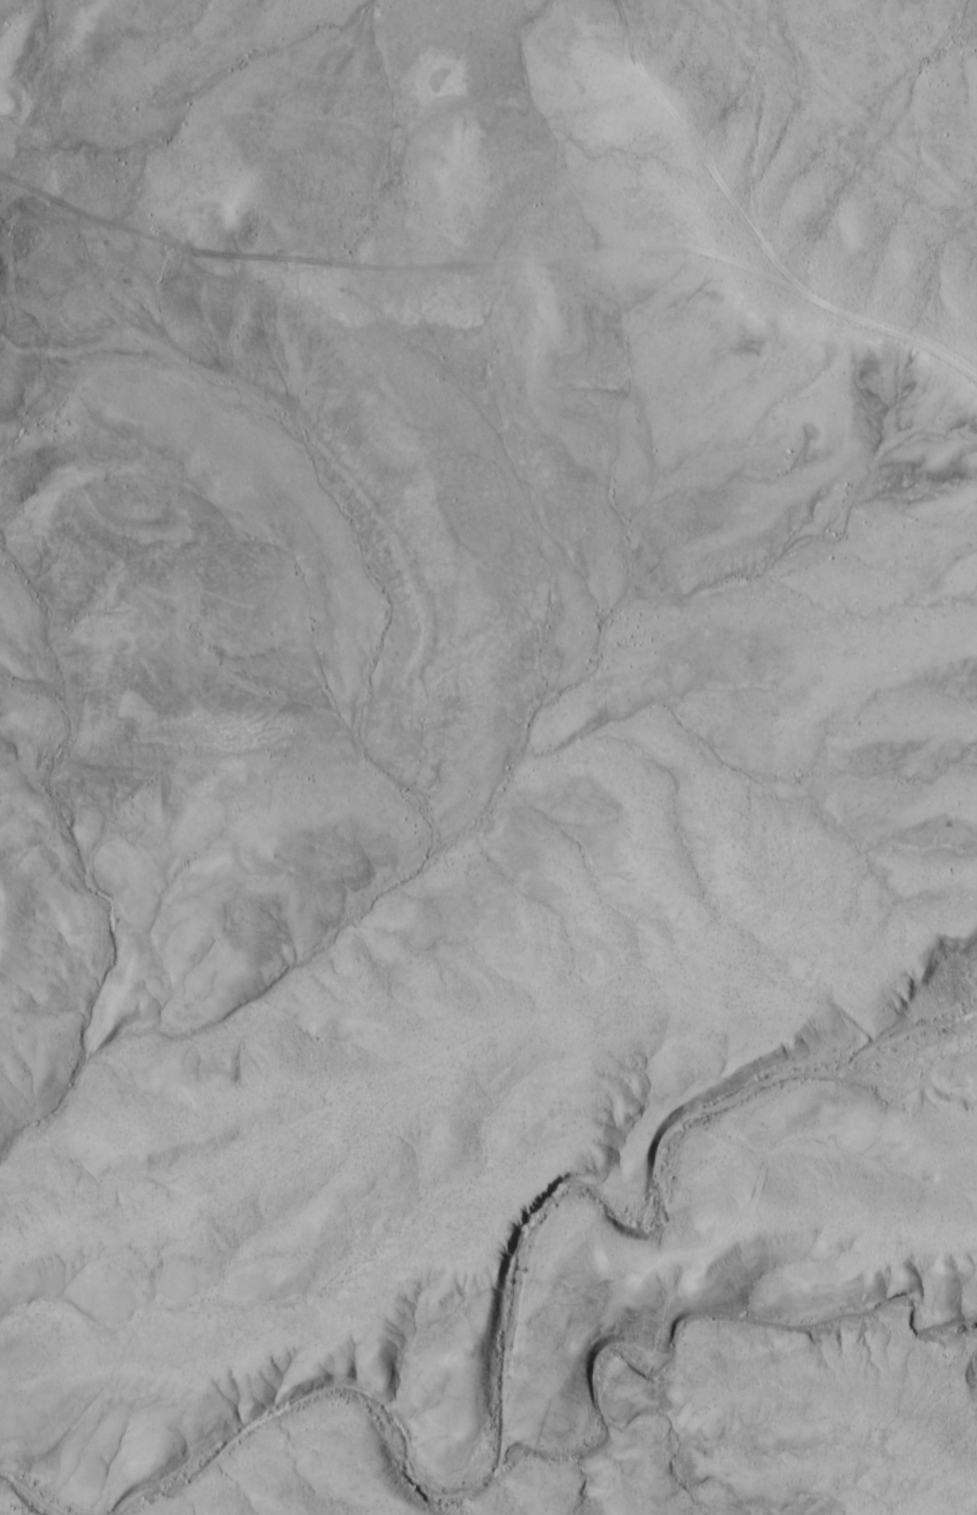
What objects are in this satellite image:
road: (703, 160)
road: (409, 232)
road: (900, 335)
road: (466, 1025)

